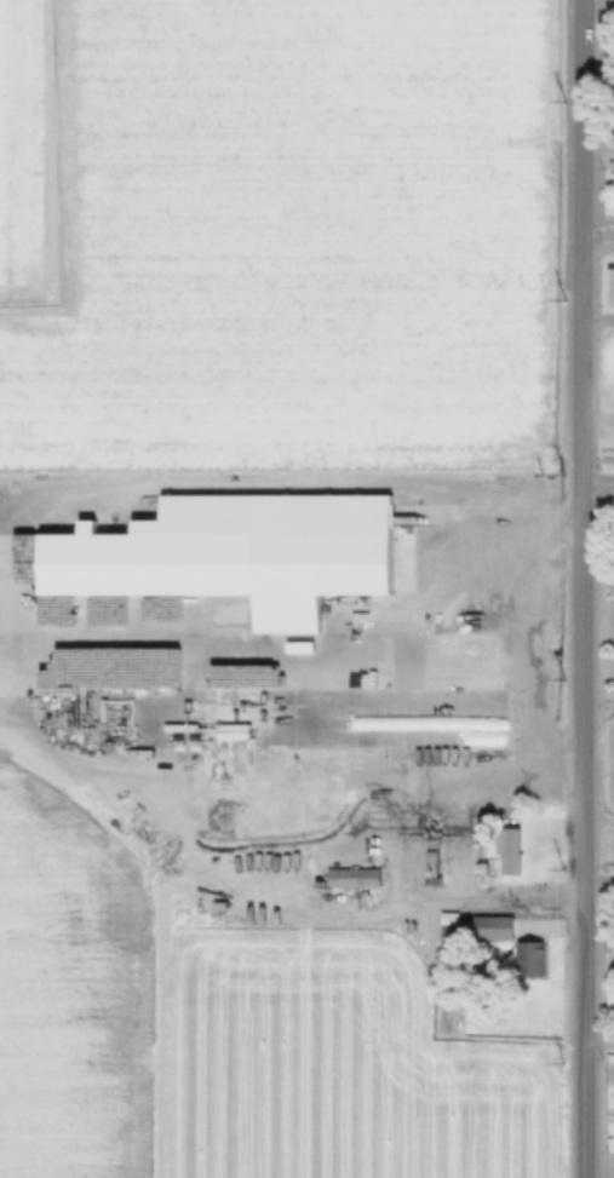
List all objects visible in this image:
road: (597, 92)
road: (597, 150)
crop: (23, 154)
road: (597, 229)
crop: (294, 239)
road: (597, 318)
road: (596, 416)
road: (596, 481)
road: (233, 487)
parking lot: (201, 502)
building: (233, 557)
building: (403, 559)
parking lot: (403, 559)
road: (579, 588)
road: (6, 619)
road: (459, 639)
road: (233, 648)
road: (596, 699)
building: (286, 719)
road: (211, 780)
road: (597, 817)
road: (231, 832)
road: (471, 835)
building: (505, 849)
road: (396, 858)
building: (427, 863)
road: (162, 872)
road: (597, 877)
building: (350, 878)
road: (302, 908)
building: (446, 918)
building: (490, 927)
building: (526, 959)
crop: (69, 994)
road: (157, 1027)
crop: (337, 1068)
road: (597, 1071)
road: (597, 1165)

